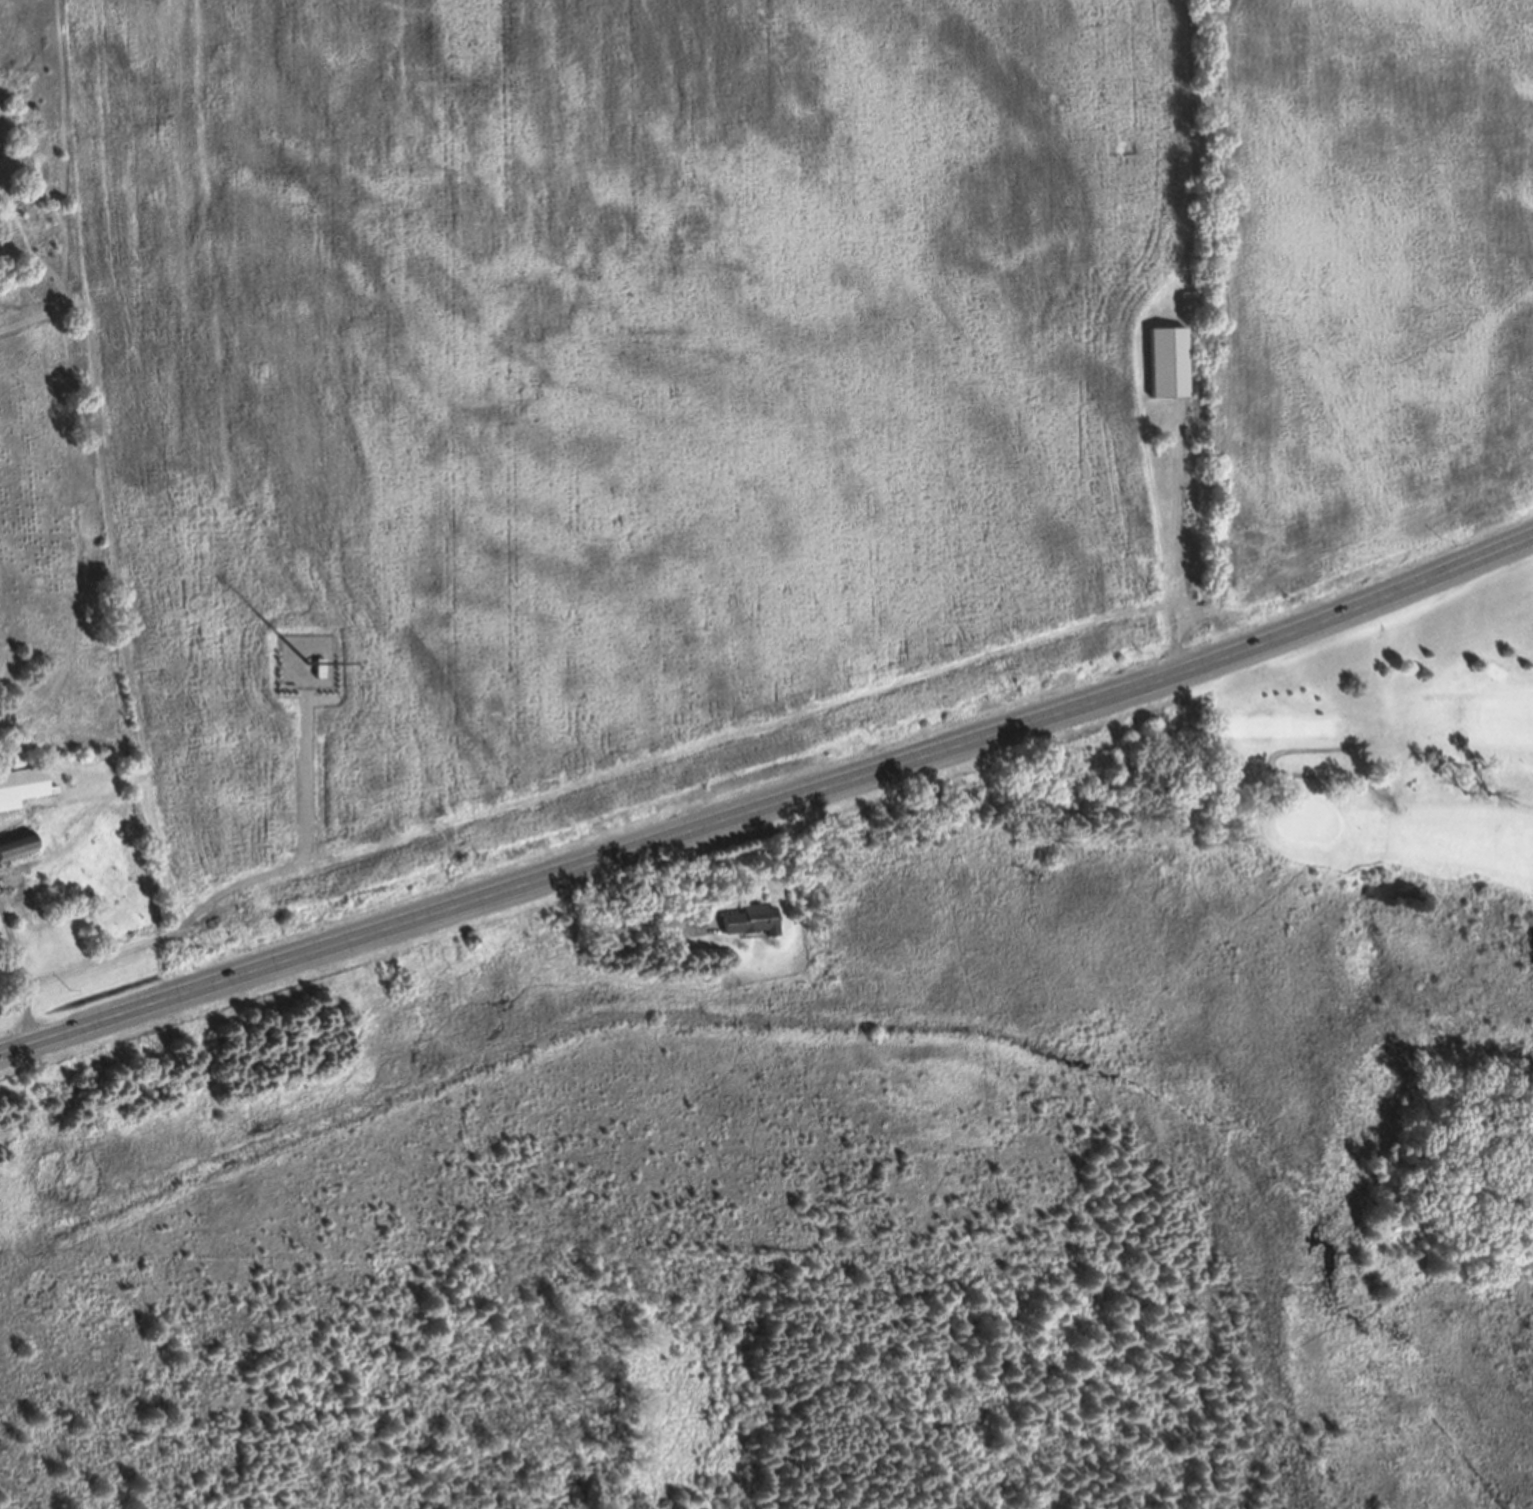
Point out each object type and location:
building: (1166, 370)
building: (301, 683)
building: (21, 793)
road: (770, 809)
building: (16, 853)
building: (746, 927)
road: (15, 980)

